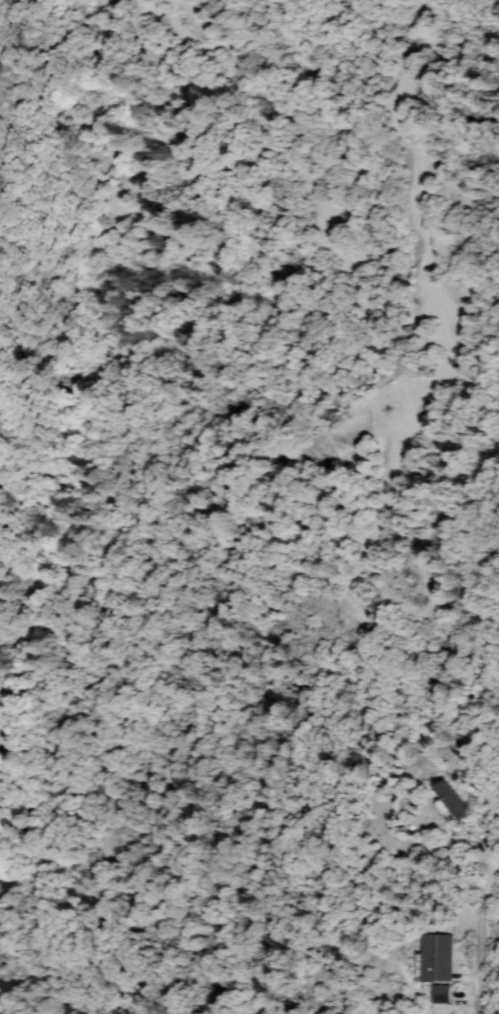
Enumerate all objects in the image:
building: (453, 804)
building: (2, 878)
building: (437, 959)
building: (442, 995)

